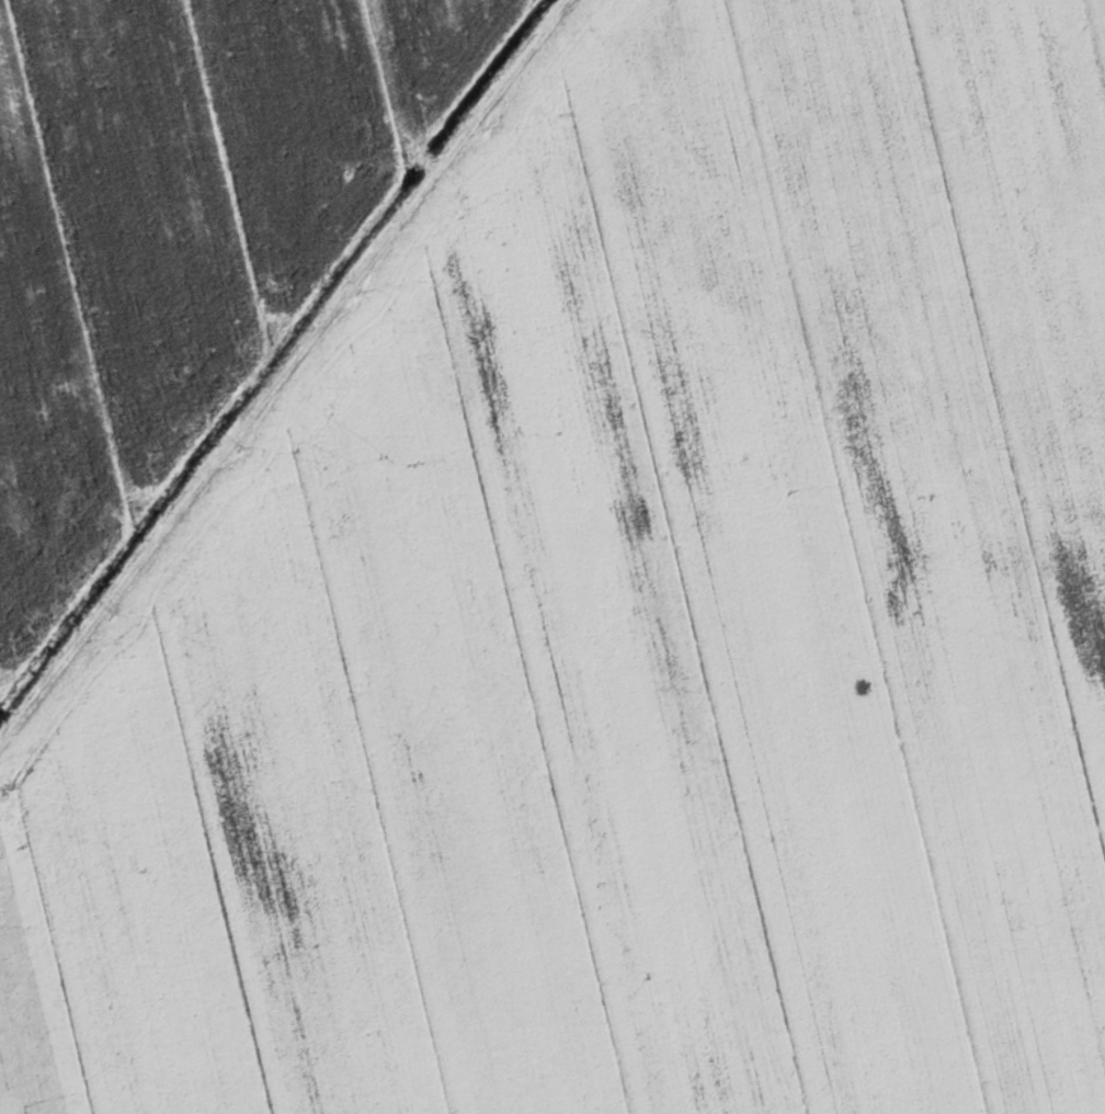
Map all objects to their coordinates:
crop: (178, 231)
road: (282, 370)
crop: (629, 622)

